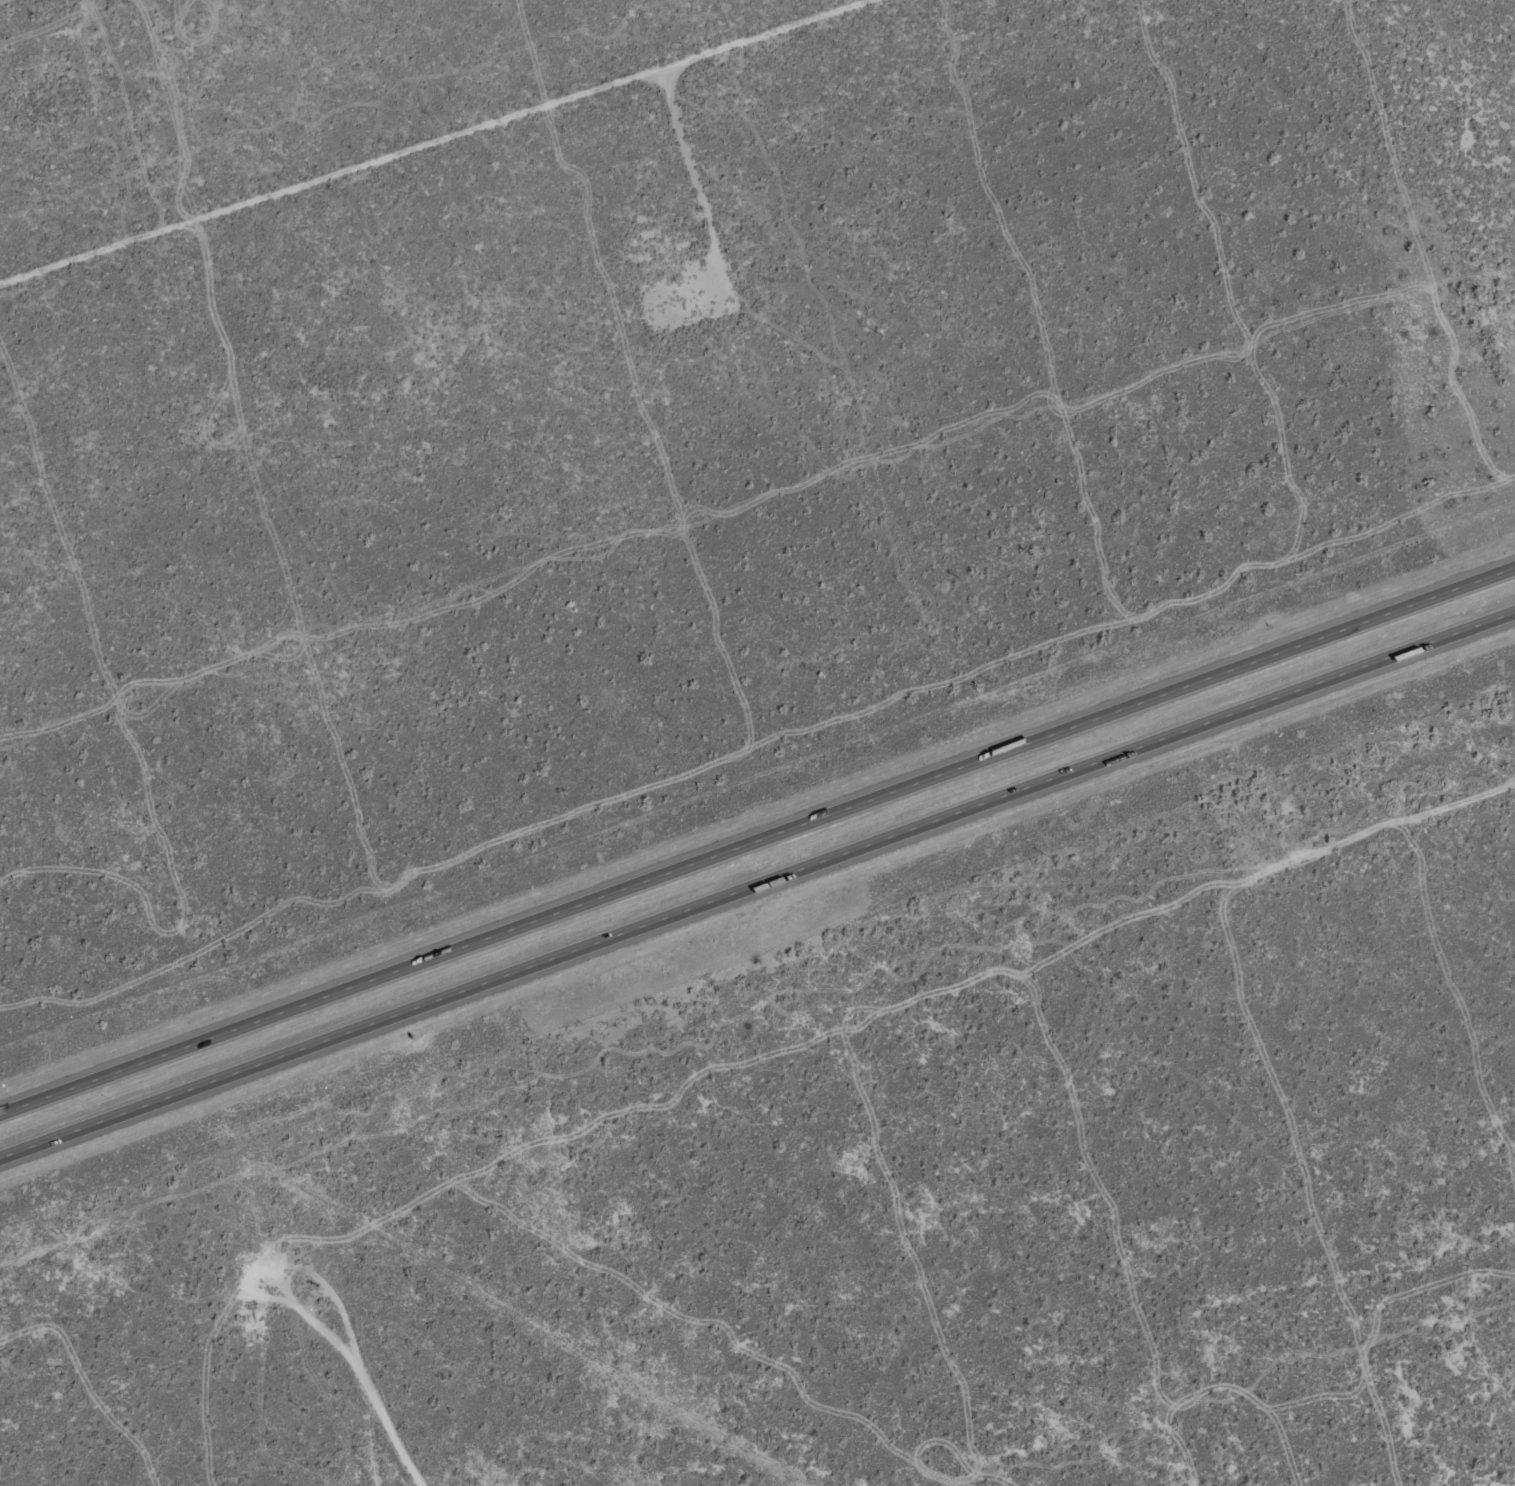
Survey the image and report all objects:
road: (436, 143)
road: (757, 840)
road: (1353, 858)
road: (757, 885)
road: (379, 1418)

